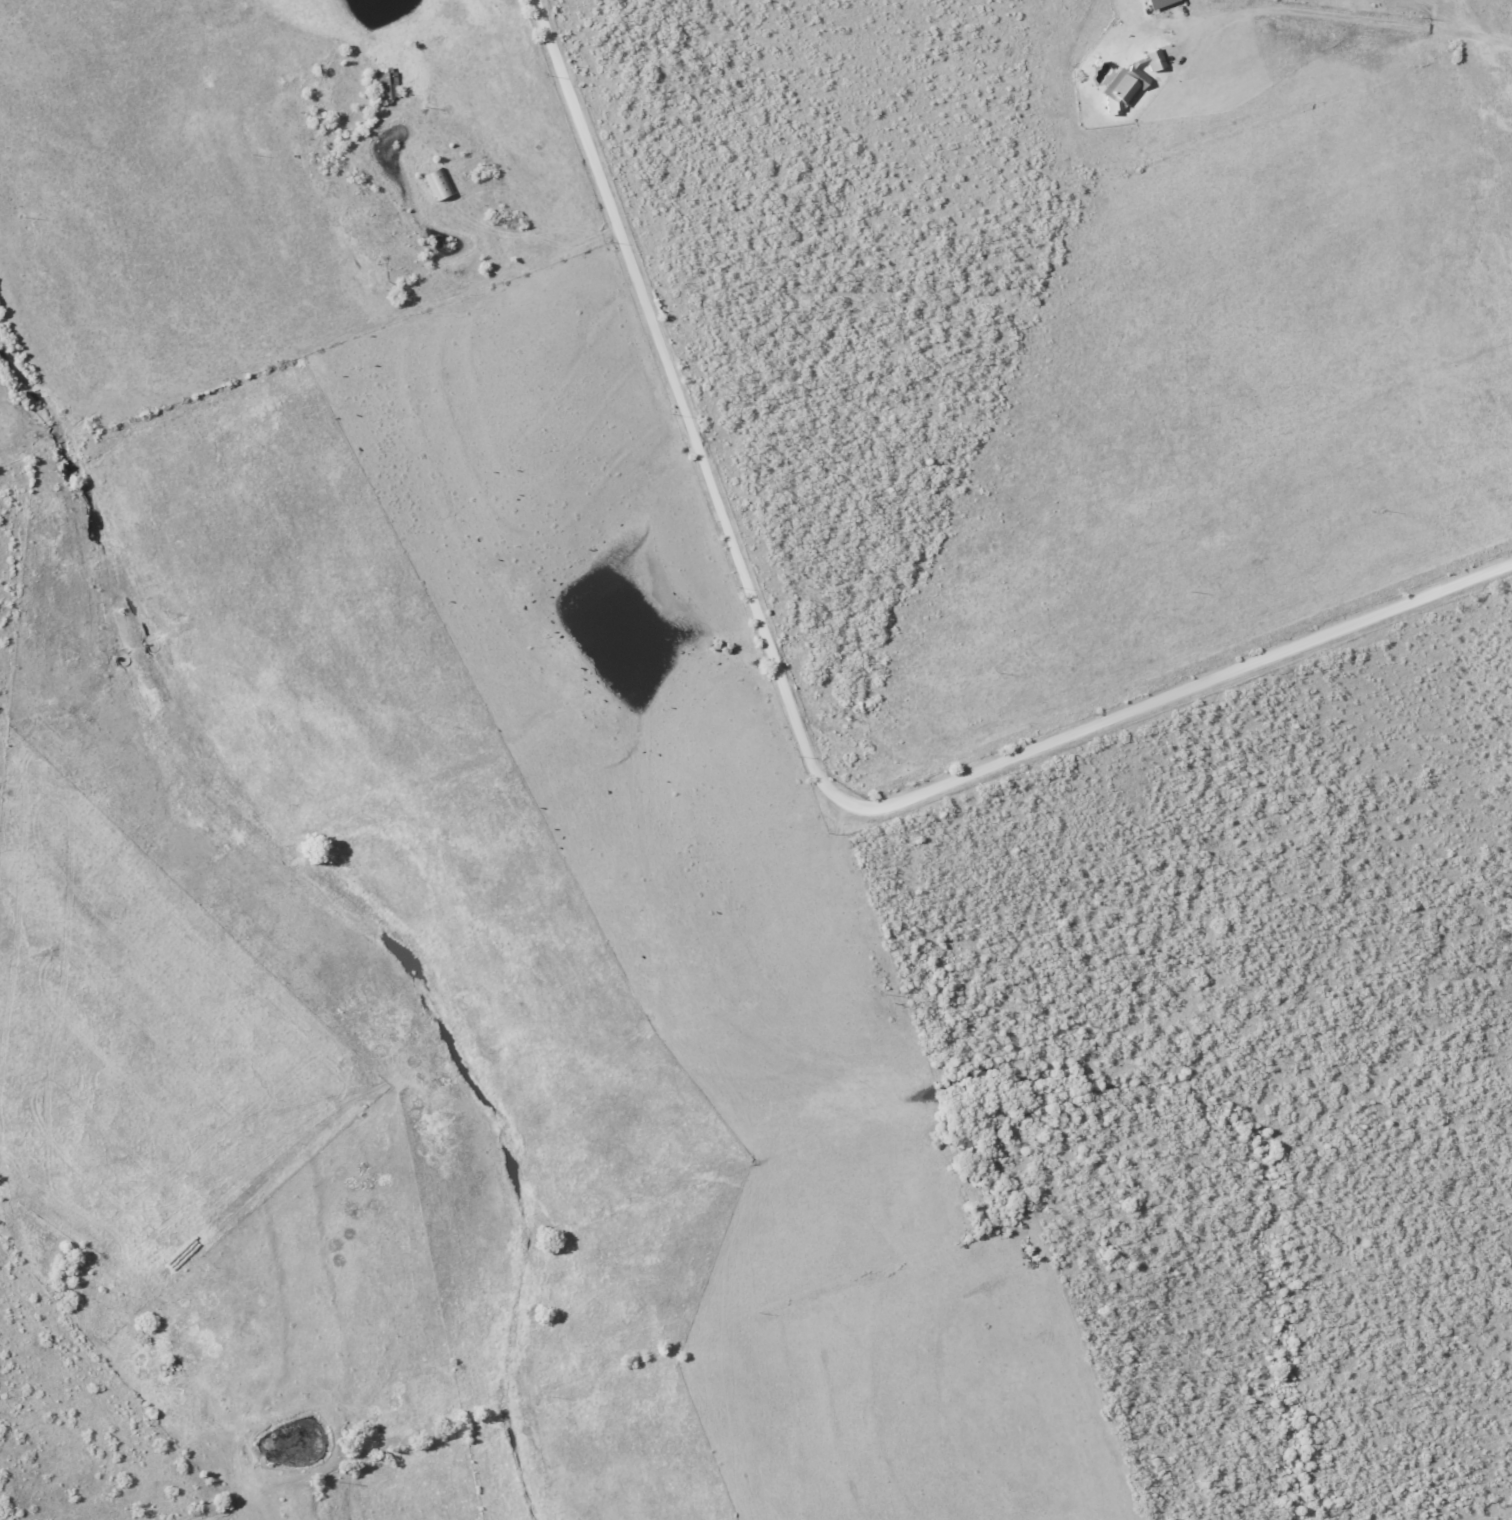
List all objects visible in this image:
building: (1155, 3)
building: (438, 182)
road: (316, 369)
road: (804, 740)

